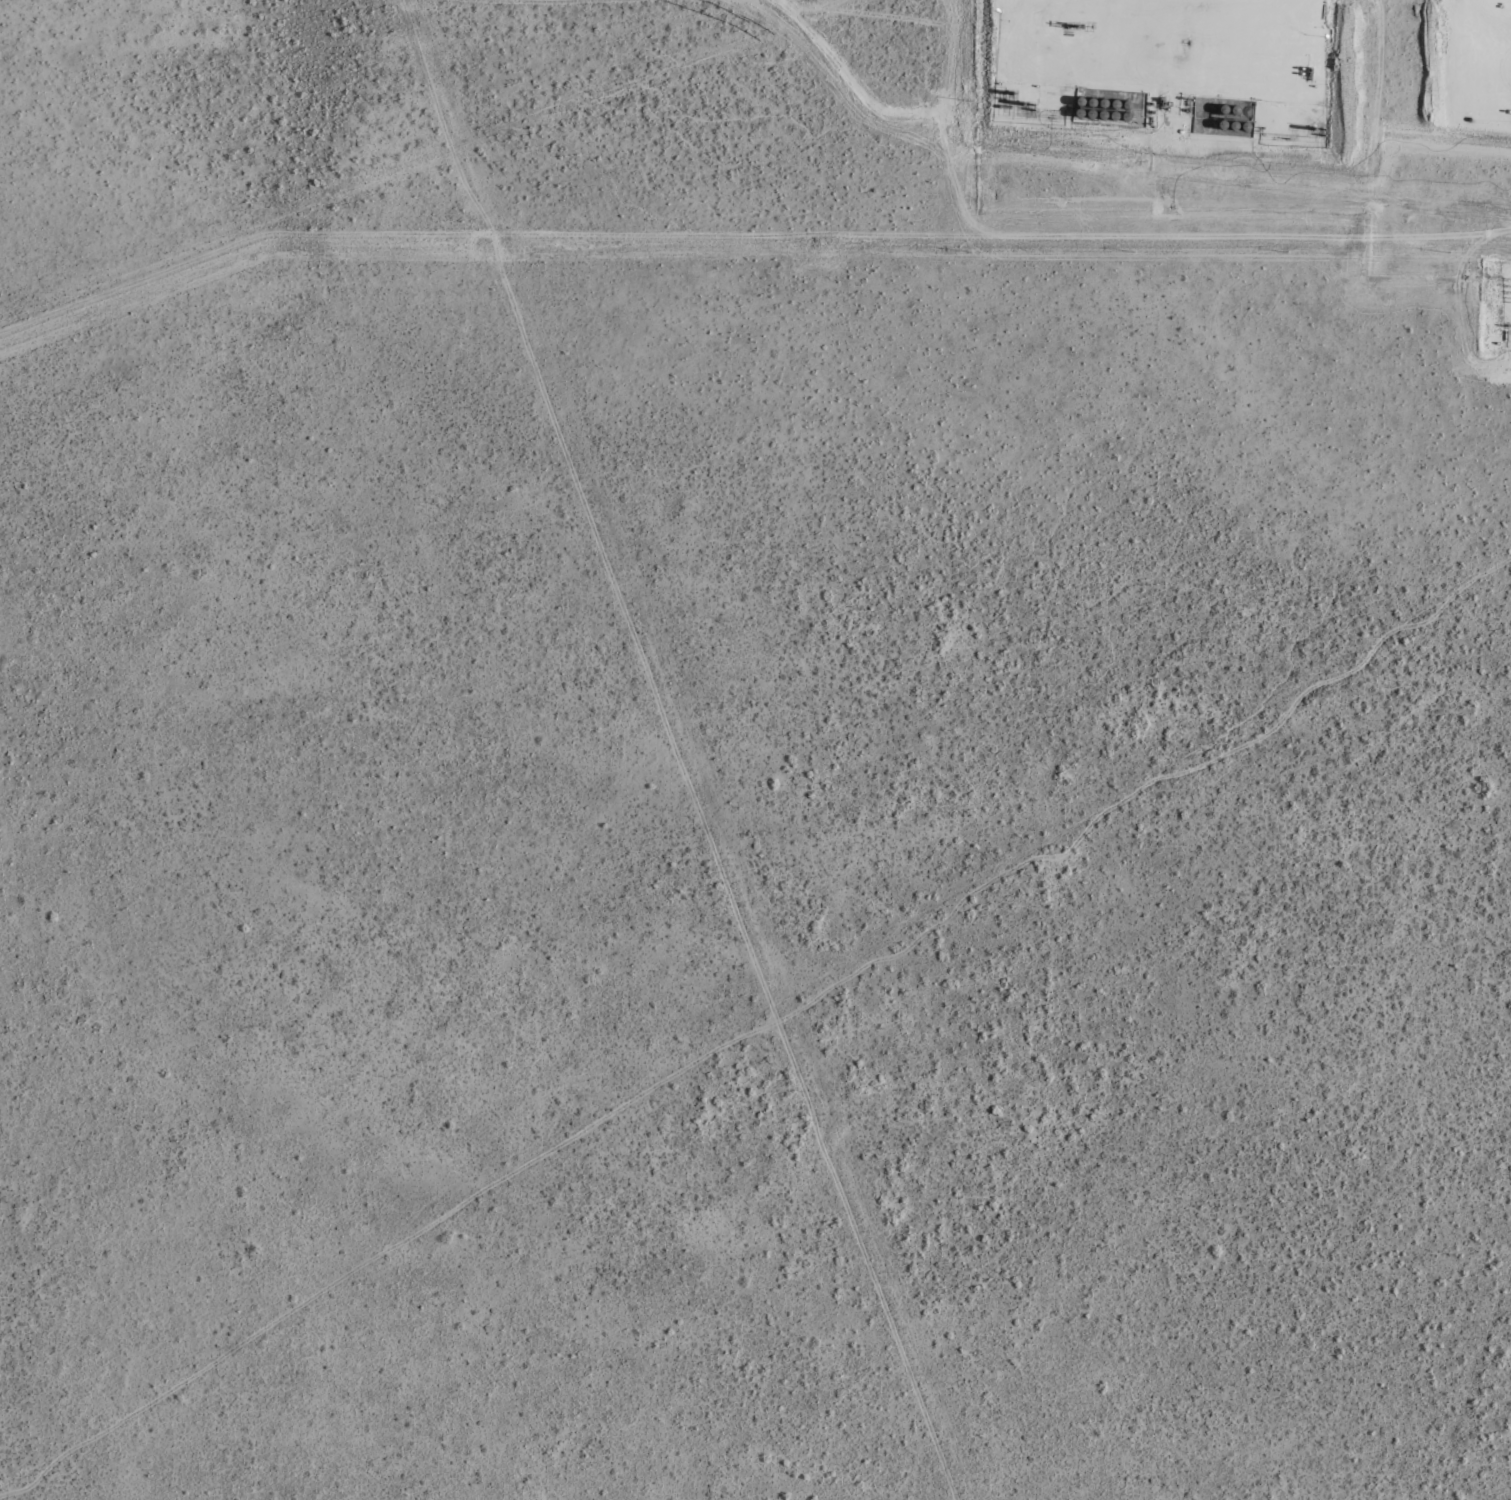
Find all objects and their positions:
road: (1155, 50)

